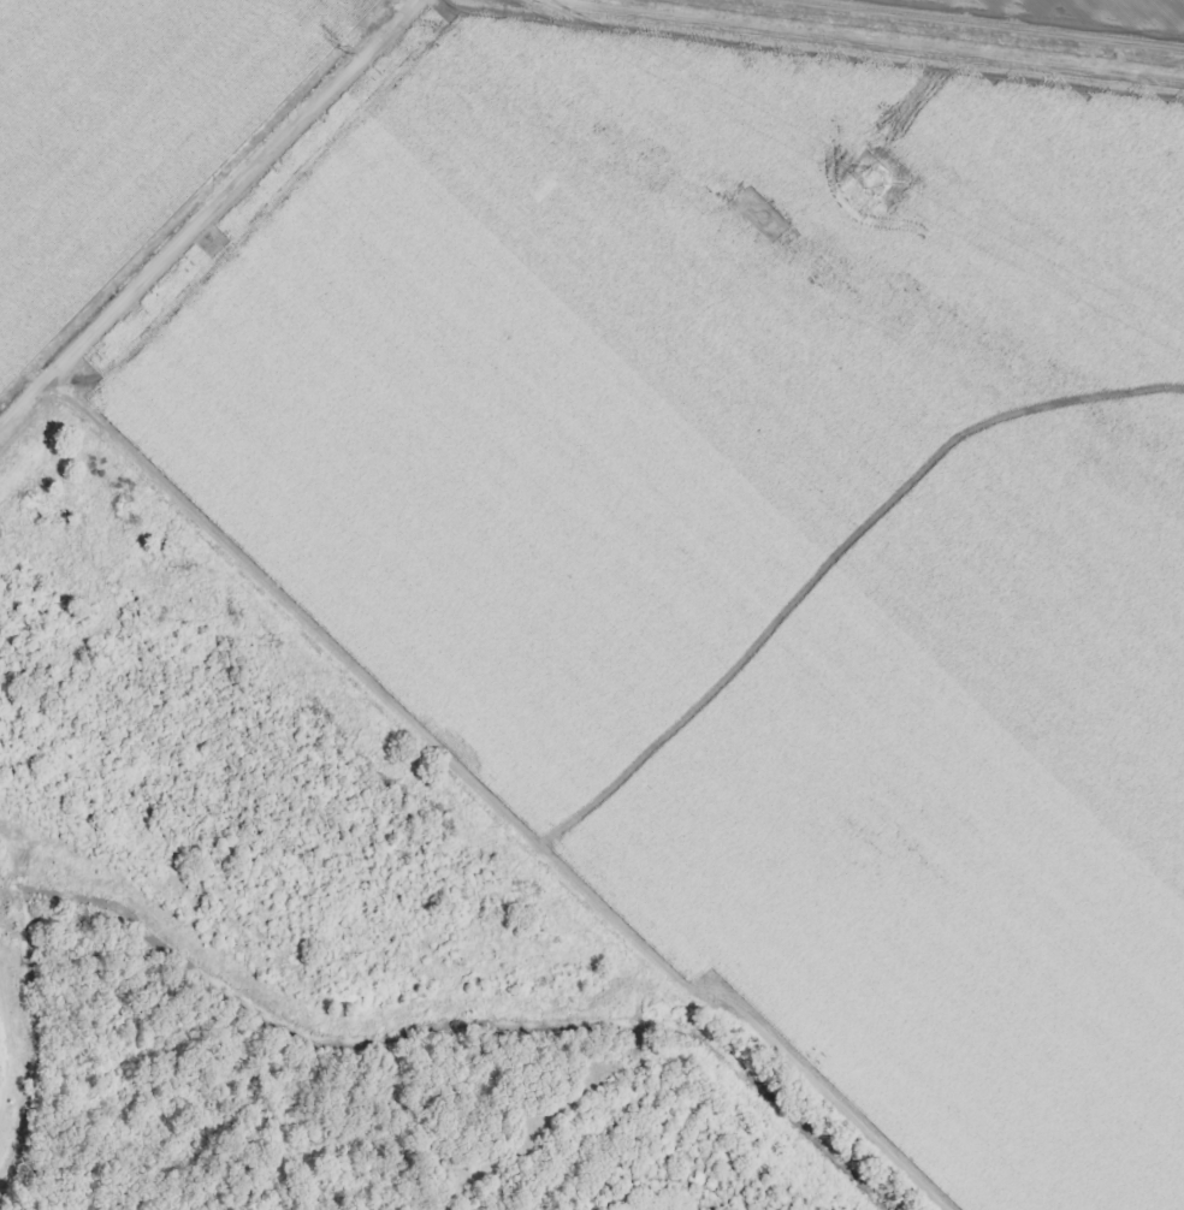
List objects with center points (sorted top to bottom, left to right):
power tower: (360, 69)
power tower: (876, 180)

